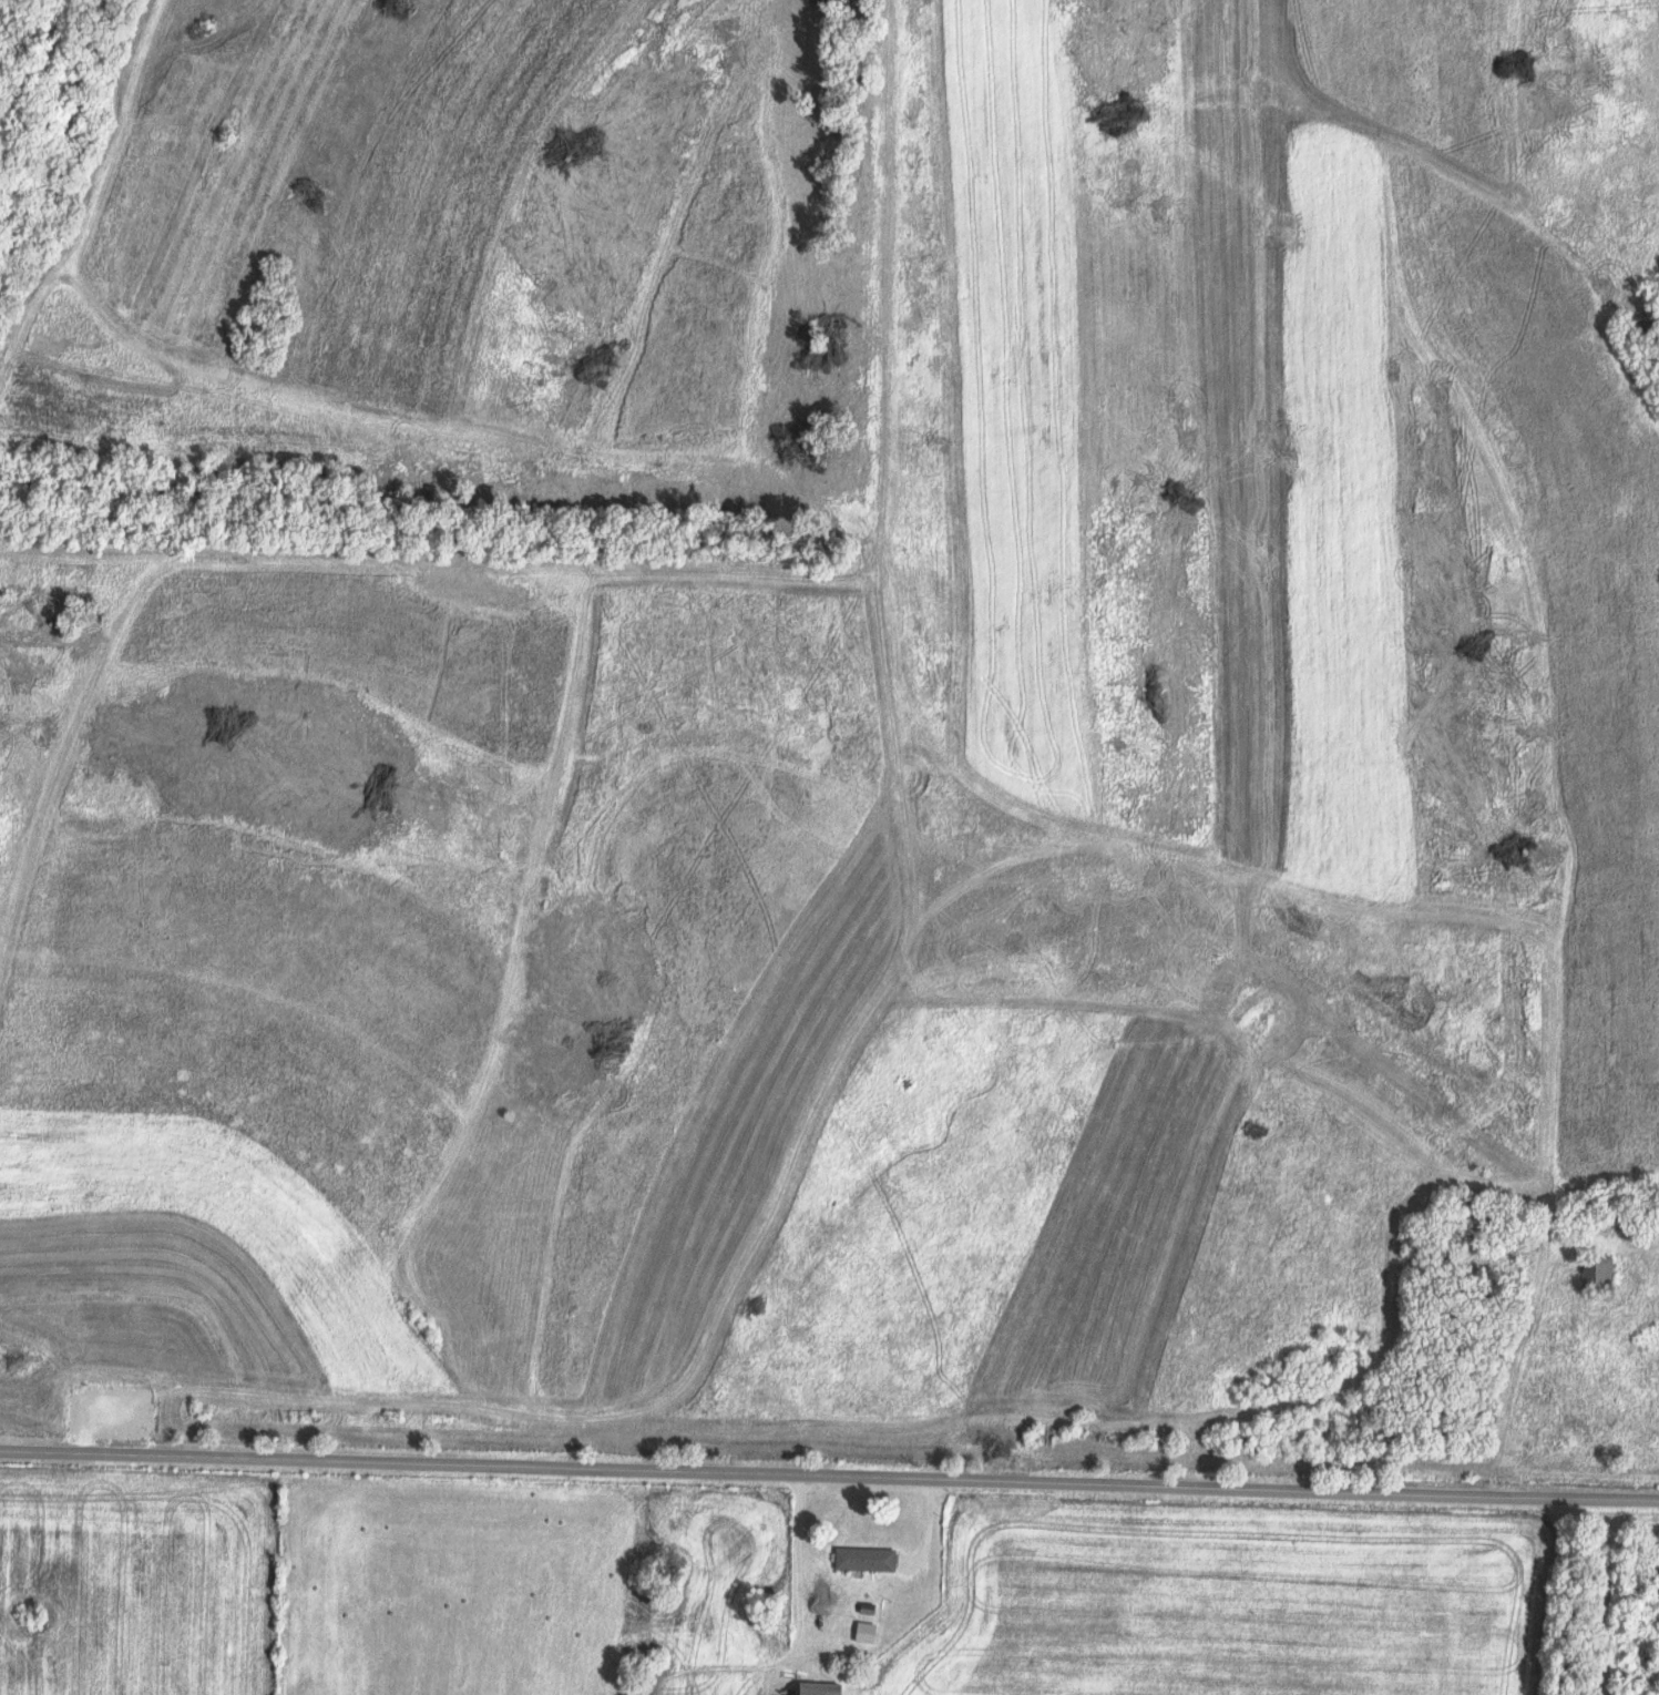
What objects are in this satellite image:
building: (1599, 1274)
road: (829, 1471)
building: (867, 1559)
building: (822, 1688)

